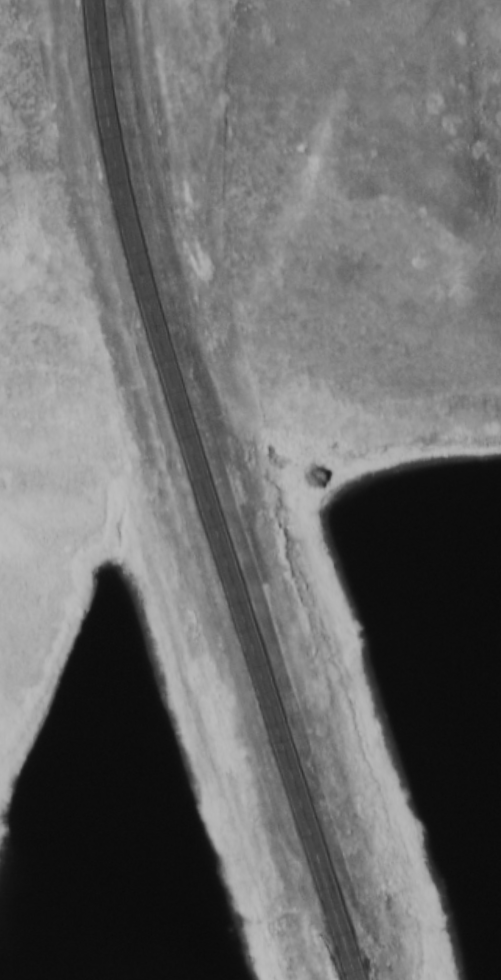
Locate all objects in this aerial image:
road: (204, 494)

